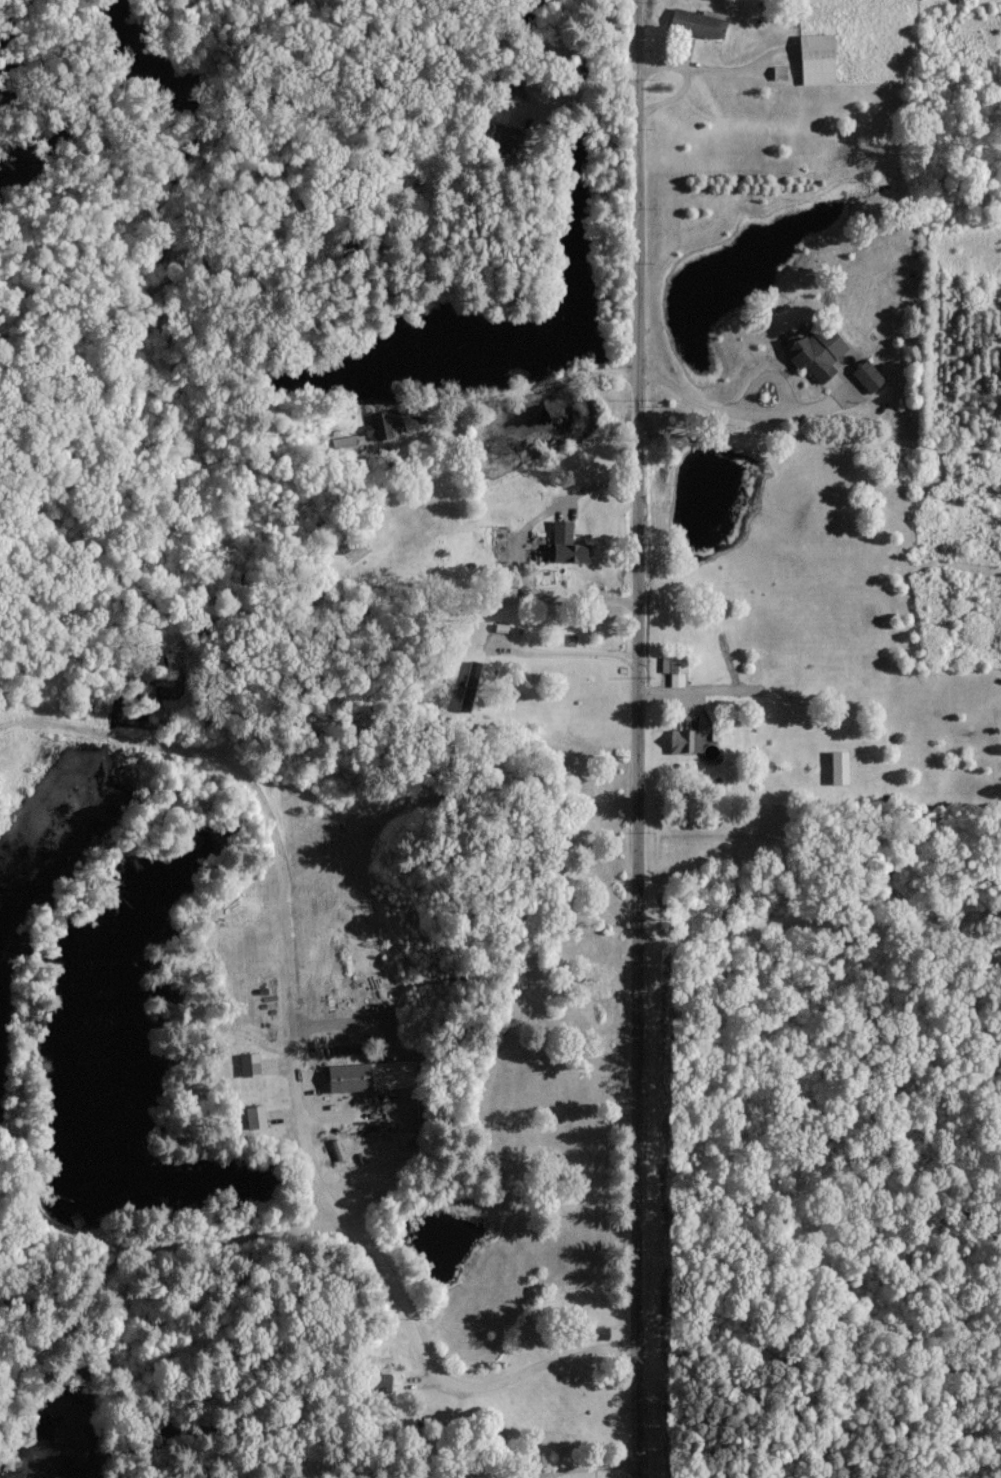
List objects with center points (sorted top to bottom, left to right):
building: (698, 22)
building: (818, 58)
road: (667, 66)
road: (693, 75)
building: (511, 86)
road: (578, 88)
building: (512, 139)
building: (818, 352)
building: (868, 375)
road: (491, 398)
road: (745, 413)
building: (383, 422)
building: (344, 445)
building: (566, 544)
road: (521, 550)
road: (568, 653)
building: (674, 668)
road: (698, 691)
road: (637, 738)
building: (686, 740)
building: (840, 766)
road: (818, 924)
building: (250, 1064)
building: (371, 1075)
building: (255, 1116)
road: (410, 1317)
building: (382, 1381)
road: (592, 1466)

